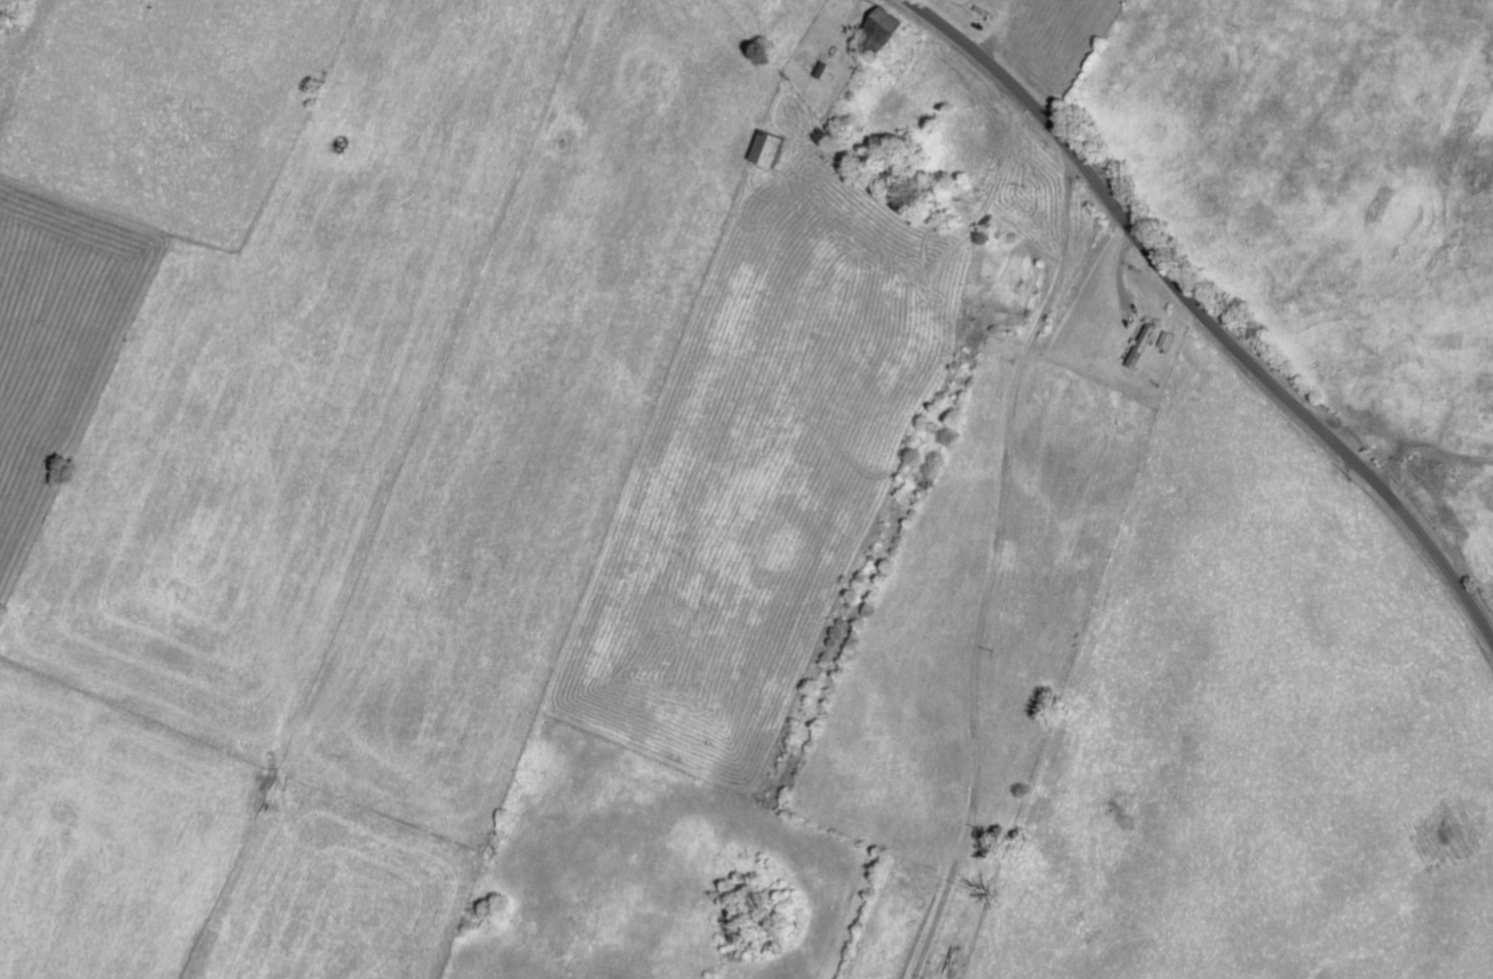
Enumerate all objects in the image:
building: (878, 26)
building: (764, 148)
road: (1204, 317)
building: (1165, 340)
building: (1139, 345)

